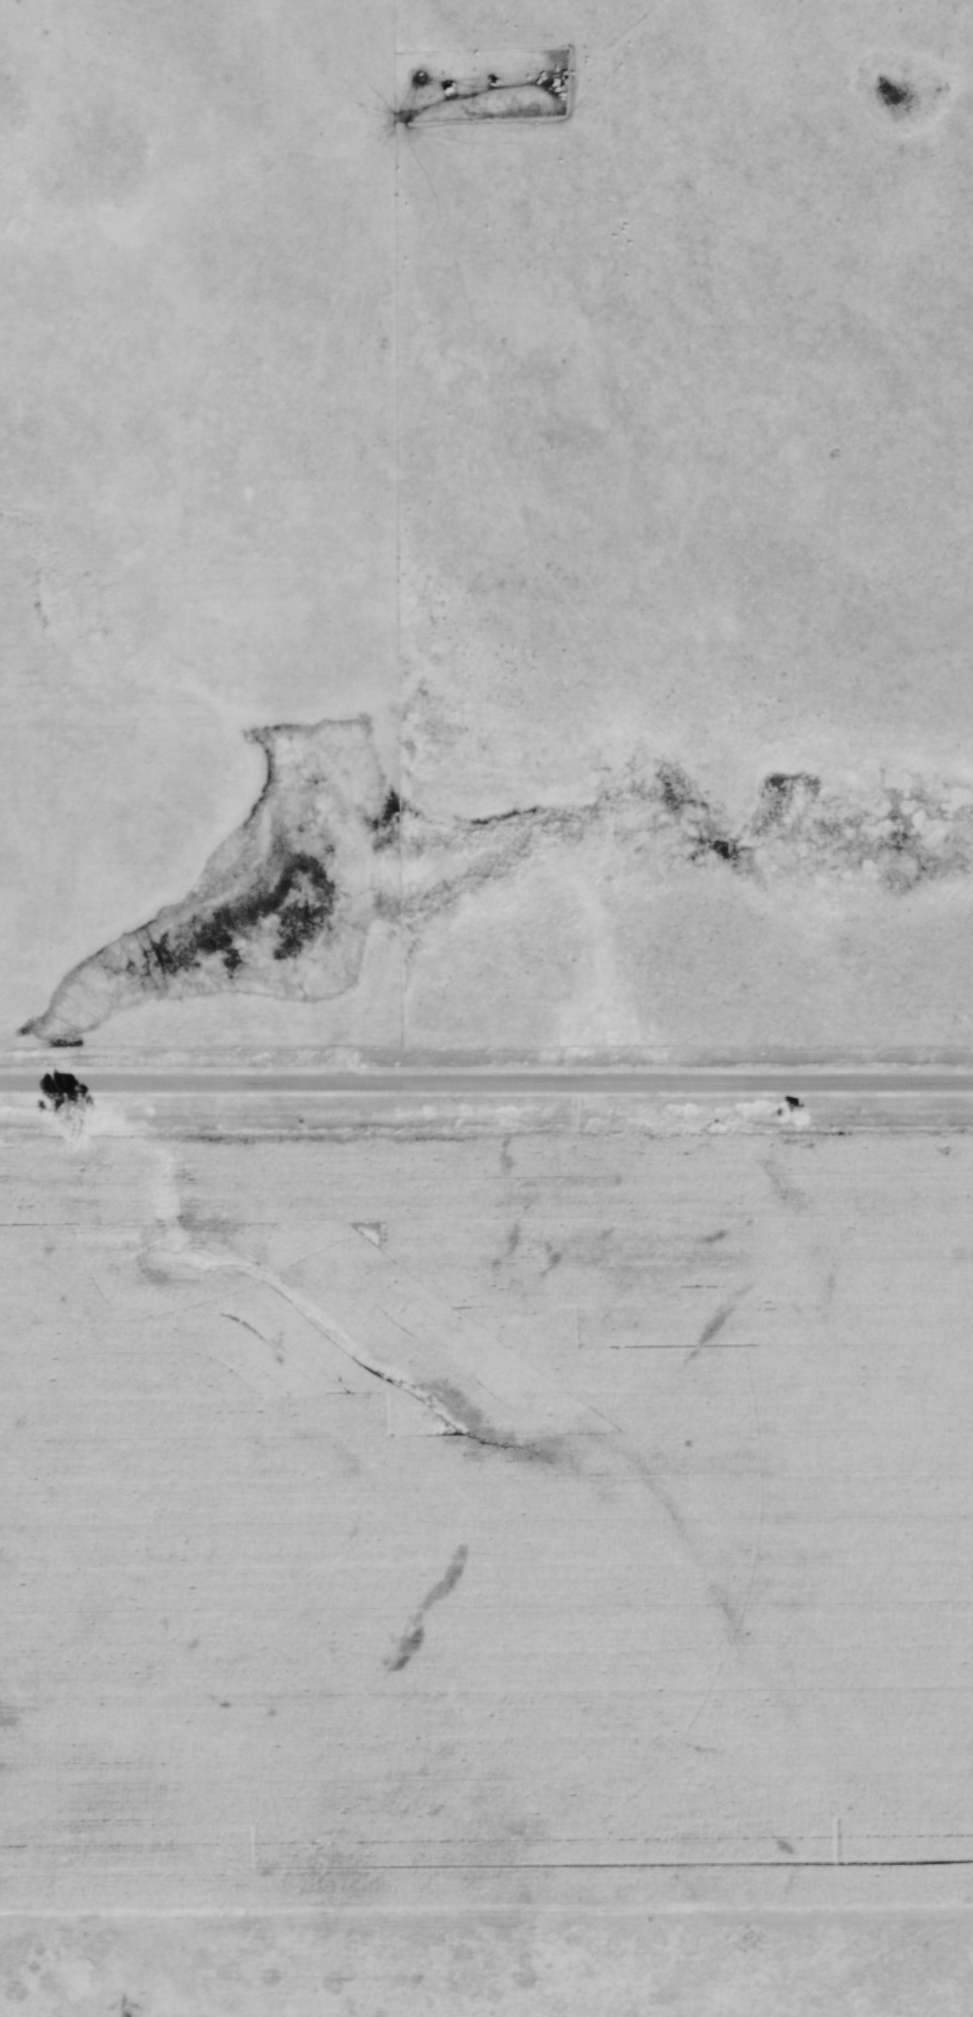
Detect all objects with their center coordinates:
road: (486, 1077)

